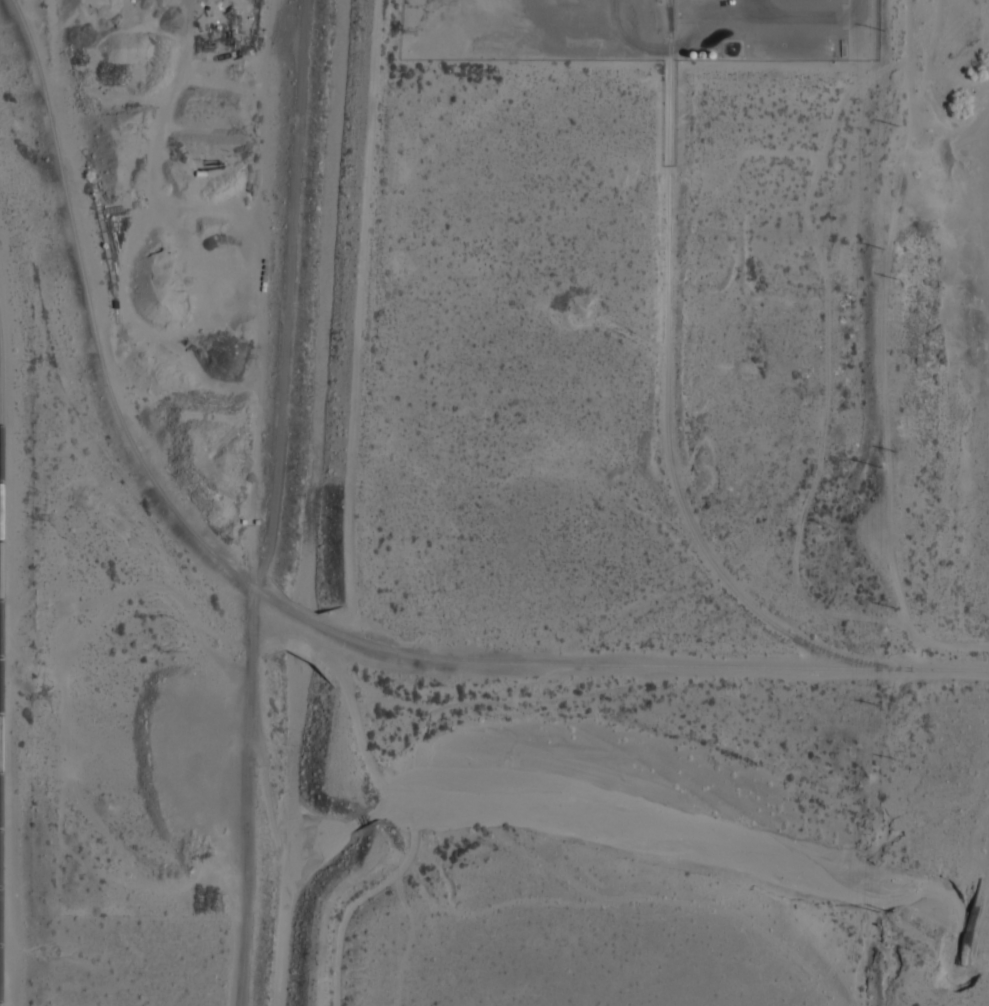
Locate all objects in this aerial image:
road: (855, 3)
railway: (94, 331)
railway: (668, 404)
railway: (1, 512)
railway: (308, 620)
railway: (661, 664)
railway: (1, 693)
railway: (0, 853)

